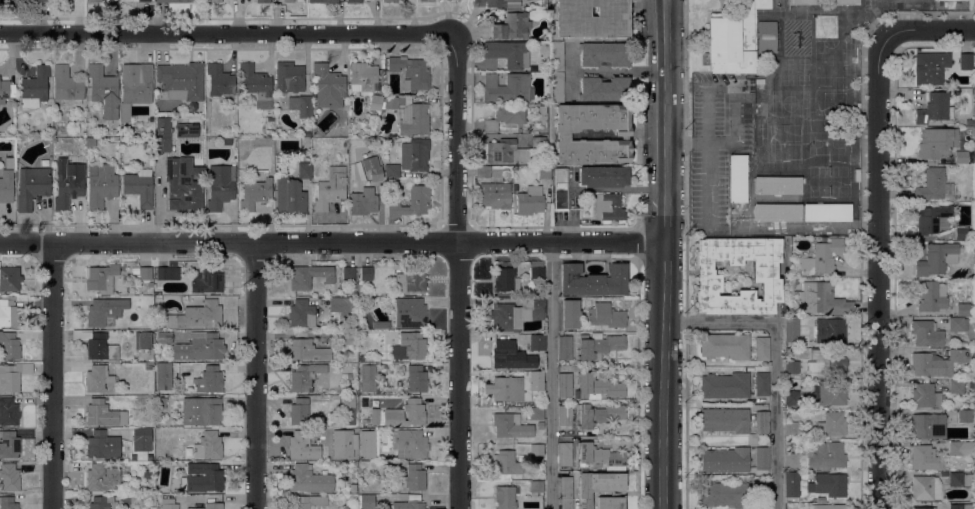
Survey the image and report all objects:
building: (137, 0)
building: (288, 0)
building: (427, 0)
building: (4, 1)
building: (37, 1)
building: (94, 1)
building: (175, 1)
building: (214, 1)
building: (263, 1)
building: (322, 1)
building: (354, 1)
building: (389, 1)
building: (801, 2)
building: (844, 2)
building: (502, 3)
building: (970, 5)
building: (592, 18)
building: (511, 25)
road: (928, 32)
road: (229, 33)
building: (766, 37)
building: (734, 40)
building: (508, 53)
building: (604, 54)
building: (974, 56)
building: (557, 57)
building: (965, 59)
building: (930, 68)
building: (412, 72)
building: (288, 75)
building: (362, 76)
building: (182, 80)
building: (219, 80)
building: (137, 83)
building: (256, 85)
building: (67, 86)
building: (328, 86)
building: (35, 87)
building: (506, 87)
building: (557, 88)
building: (604, 88)
building: (4, 91)
building: (104, 91)
building: (375, 103)
building: (392, 103)
building: (301, 105)
building: (935, 108)
building: (542, 109)
road: (732, 114)
building: (505, 117)
building: (270, 118)
building: (414, 119)
building: (970, 122)
building: (308, 127)
building: (187, 130)
building: (306, 134)
building: (622, 134)
building: (163, 135)
building: (269, 135)
building: (20, 140)
building: (356, 142)
building: (538, 142)
building: (936, 142)
building: (507, 151)
road: (708, 154)
building: (415, 155)
parking lot: (726, 156)
building: (964, 156)
building: (50, 161)
building: (197, 162)
building: (392, 170)
building: (304, 171)
building: (483, 171)
building: (543, 172)
building: (603, 176)
building: (737, 178)
building: (68, 183)
building: (182, 185)
building: (777, 185)
building: (6, 186)
building: (32, 186)
building: (101, 186)
building: (934, 186)
building: (139, 187)
building: (219, 187)
building: (561, 188)
building: (330, 189)
building: (254, 193)
building: (366, 194)
building: (289, 195)
building: (494, 195)
building: (530, 200)
building: (411, 202)
building: (609, 207)
building: (777, 212)
building: (826, 212)
building: (933, 219)
building: (961, 232)
road: (331, 244)
road: (663, 254)
building: (822, 256)
building: (936, 259)
building: (173, 264)
road: (459, 269)
building: (135, 271)
building: (537, 271)
road: (880, 271)
building: (145, 273)
building: (167, 273)
building: (349, 273)
building: (366, 273)
building: (310, 276)
building: (764, 276)
building: (101, 278)
building: (9, 279)
building: (207, 280)
building: (410, 280)
building: (506, 280)
building: (592, 280)
building: (149, 284)
building: (932, 297)
building: (158, 298)
building: (823, 299)
building: (343, 308)
building: (963, 309)
building: (105, 310)
building: (8, 313)
building: (409, 313)
building: (301, 314)
building: (517, 314)
building: (570, 314)
building: (605, 315)
building: (197, 316)
building: (381, 324)
building: (957, 324)
building: (792, 330)
building: (830, 330)
building: (927, 333)
building: (164, 337)
building: (348, 338)
building: (142, 340)
building: (537, 342)
building: (97, 345)
building: (598, 345)
building: (725, 345)
building: (9, 346)
building: (408, 346)
building: (199, 347)
building: (564, 347)
building: (761, 348)
building: (307, 350)
building: (508, 356)
road: (775, 360)
building: (825, 362)
building: (938, 363)
building: (147, 365)
building: (791, 367)
building: (163, 374)
building: (13, 376)
road: (52, 376)
road: (254, 376)
road: (552, 376)
building: (306, 377)
building: (367, 378)
building: (97, 379)
building: (416, 379)
building: (209, 380)
building: (974, 382)
building: (564, 384)
building: (762, 384)
building: (724, 385)
building: (971, 385)
building: (515, 386)
building: (597, 386)
building: (956, 386)
building: (352, 390)
building: (830, 392)
building: (925, 395)
building: (791, 397)
building: (364, 400)
building: (348, 409)
building: (8, 411)
building: (201, 411)
building: (298, 411)
building: (536, 413)
building: (103, 414)
building: (394, 414)
building: (598, 414)
building: (965, 415)
building: (564, 417)
building: (724, 420)
building: (762, 422)
building: (831, 424)
building: (928, 425)
building: (510, 426)
building: (792, 428)
building: (974, 433)
building: (141, 435)
building: (156, 435)
building: (341, 443)
building: (408, 443)
building: (9, 444)
building: (367, 444)
building: (102, 445)
building: (208, 445)
building: (304, 446)
building: (957, 448)
building: (536, 450)
building: (971, 453)
building: (564, 454)
building: (599, 455)
building: (826, 455)
building: (923, 457)
building: (762, 458)
building: (725, 460)
building: (791, 460)
building: (506, 462)
building: (944, 473)
building: (146, 474)
building: (9, 477)
building: (101, 477)
building: (202, 477)
building: (411, 477)
building: (959, 479)
building: (308, 480)
building: (598, 484)
building: (791, 484)
building: (828, 484)
building: (536, 486)
building: (353, 487)
building: (925, 488)
building: (565, 492)
building: (722, 493)
building: (505, 497)
building: (762, 497)
building: (352, 499)
building: (307, 501)
building: (367, 501)
building: (100, 502)
building: (7, 503)
building: (168, 503)
building: (206, 503)
building: (610, 503)
building: (409, 505)
building: (828, 506)
building: (960, 506)
building: (923, 508)

